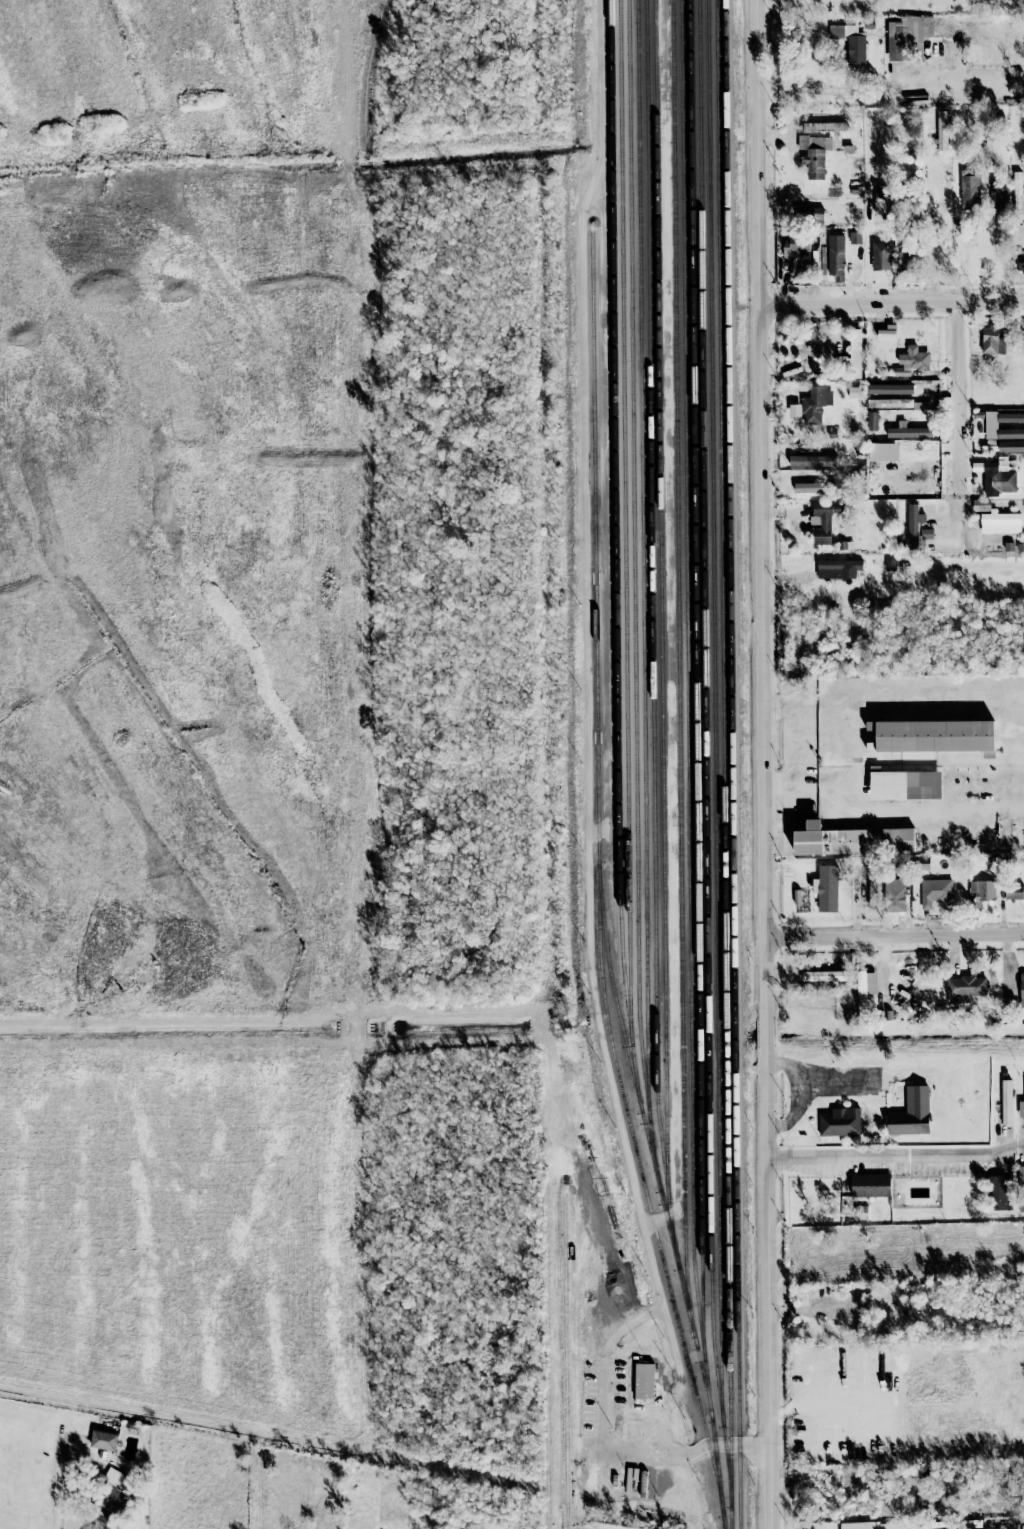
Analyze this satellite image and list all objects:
road: (798, 34)
building: (908, 36)
building: (851, 43)
road: (784, 51)
road: (837, 96)
building: (823, 127)
building: (942, 131)
building: (989, 147)
building: (815, 155)
building: (970, 189)
building: (879, 199)
building: (999, 204)
building: (809, 214)
building: (855, 238)
building: (800, 244)
building: (836, 255)
building: (881, 256)
building: (1020, 262)
building: (905, 264)
road: (890, 305)
building: (887, 332)
building: (992, 341)
building: (853, 358)
building: (913, 361)
building: (893, 397)
road: (957, 400)
building: (815, 405)
building: (1011, 418)
building: (873, 421)
building: (909, 432)
building: (1010, 434)
building: (814, 461)
building: (998, 475)
building: (811, 488)
railway: (625, 514)
building: (996, 519)
building: (822, 521)
building: (917, 529)
railway: (641, 548)
building: (838, 569)
railway: (634, 587)
railway: (661, 597)
railway: (653, 629)
railway: (679, 658)
railway: (596, 662)
railway: (696, 673)
railway: (688, 696)
railway: (714, 706)
building: (934, 737)
road: (586, 741)
railway: (723, 755)
railway: (734, 764)
road: (763, 764)
railway: (706, 765)
railway: (619, 769)
building: (904, 785)
road: (864, 813)
building: (852, 841)
building: (827, 889)
building: (935, 892)
building: (981, 892)
building: (873, 893)
building: (1014, 893)
building: (895, 895)
road: (894, 934)
building: (825, 976)
building: (966, 987)
building: (866, 989)
building: (1022, 991)
road: (837, 1081)
road: (798, 1094)
building: (1006, 1103)
building: (1021, 1110)
building: (912, 1114)
building: (840, 1122)
road: (895, 1153)
building: (1021, 1177)
building: (871, 1186)
railway: (646, 1191)
building: (998, 1193)
railway: (546, 1354)
railway: (565, 1360)
building: (645, 1381)
road: (673, 1418)
building: (104, 1440)
road: (607, 1456)
road: (62, 1487)
building: (112, 1493)
building: (856, 1525)
building: (1023, 1527)

